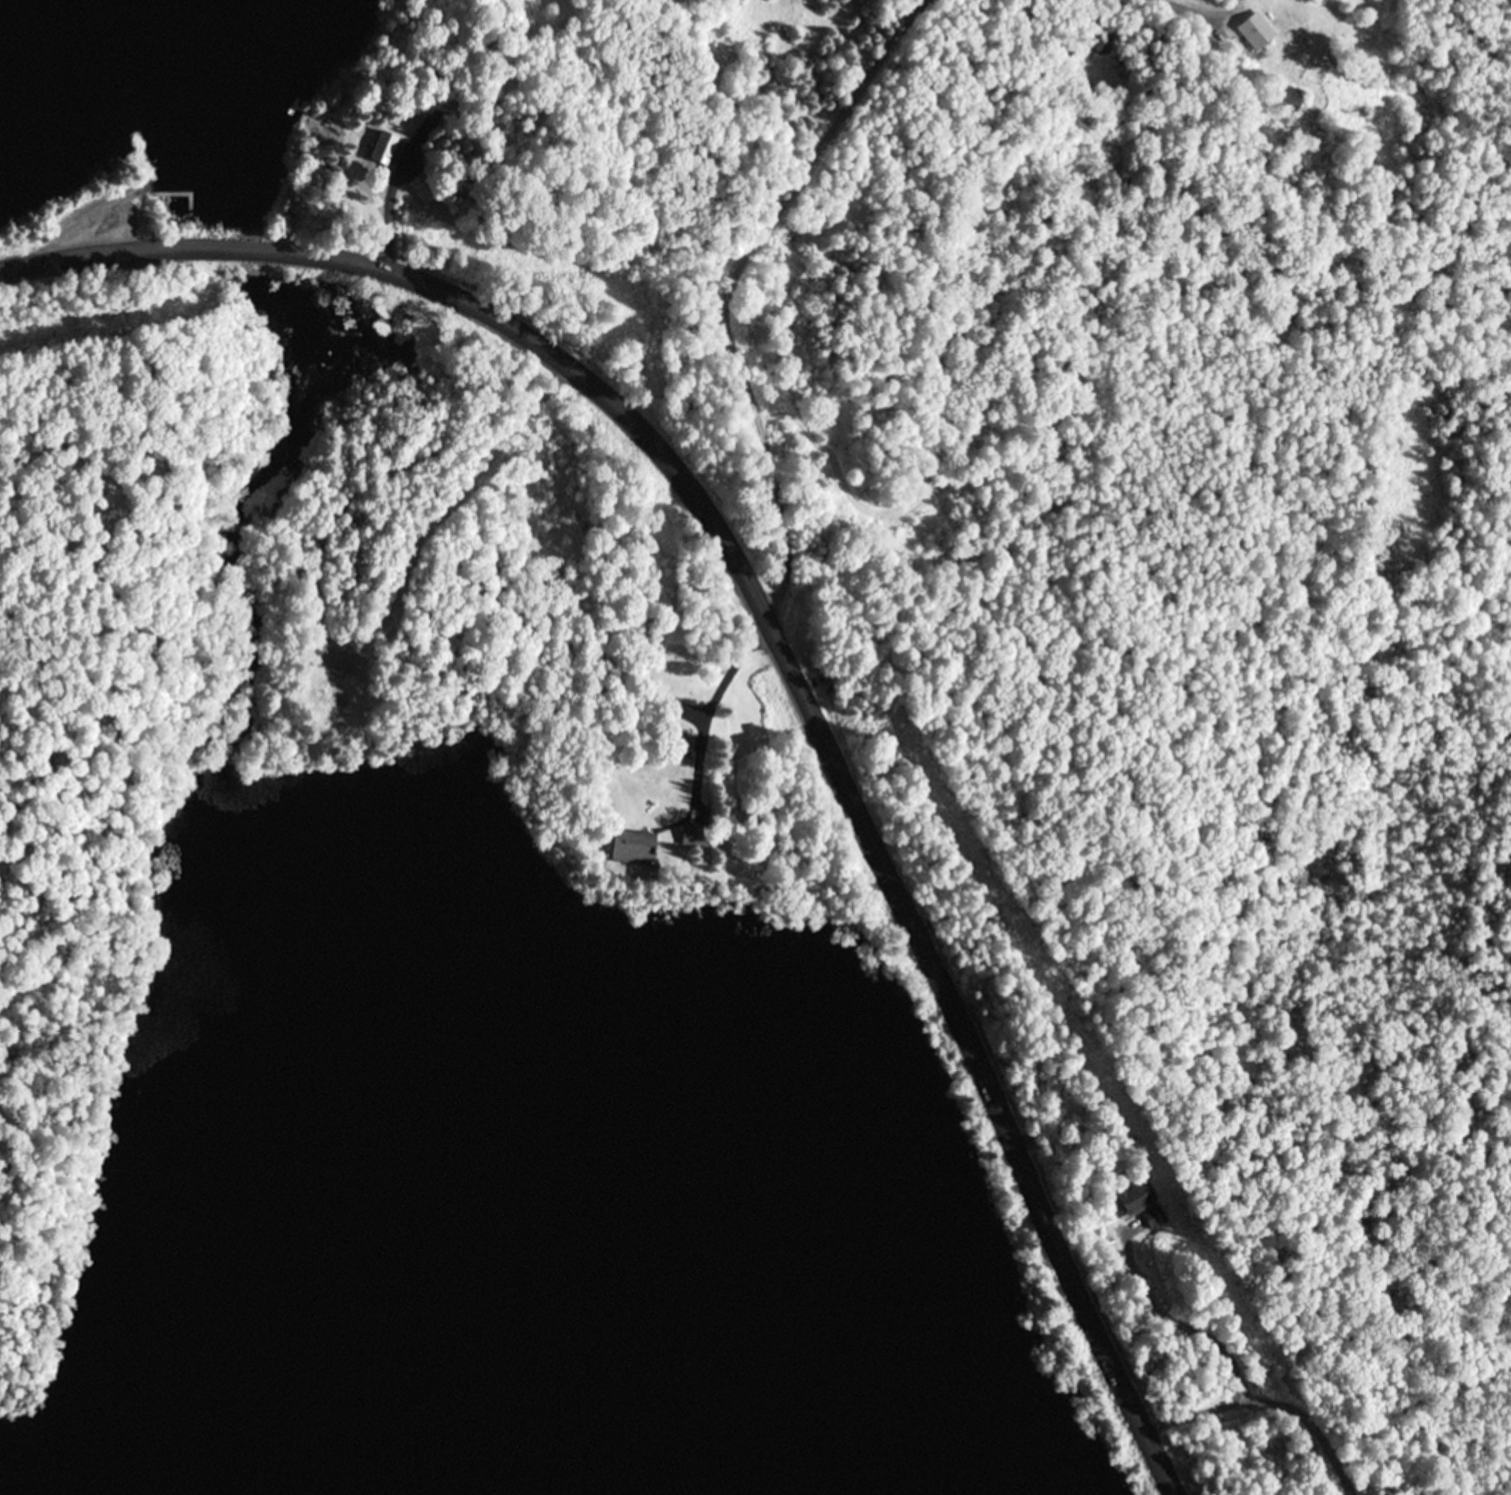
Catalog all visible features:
road: (449, 509)
road: (776, 636)

